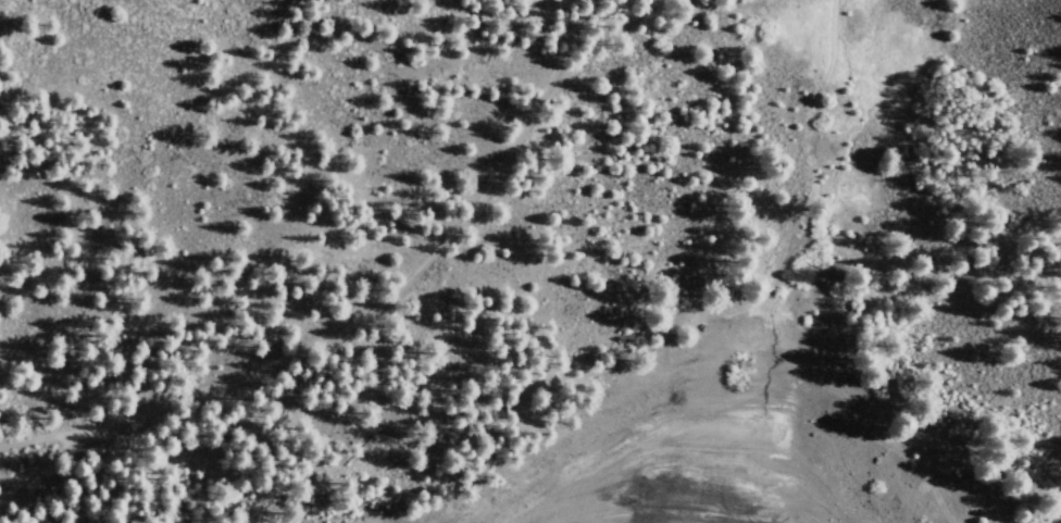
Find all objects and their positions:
road: (372, 321)

